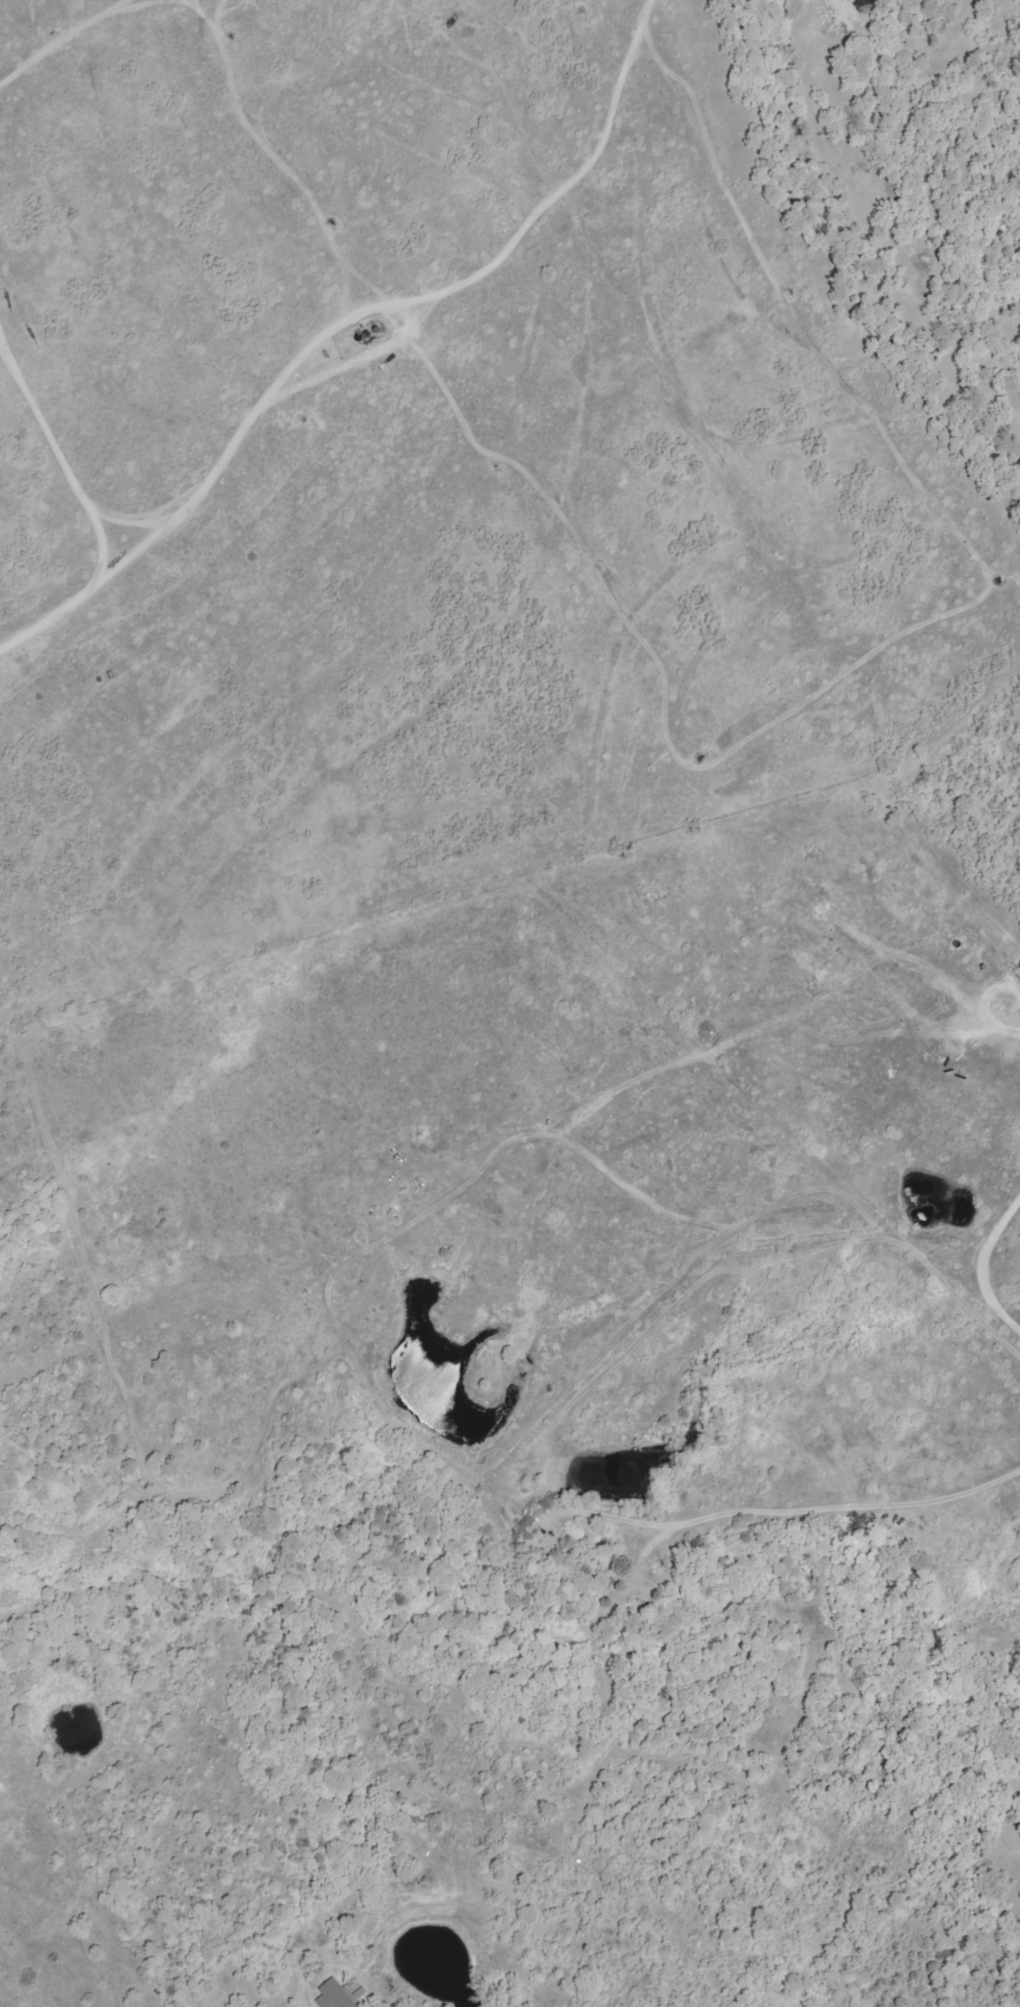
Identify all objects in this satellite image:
road: (341, 319)
road: (689, 1993)
building: (332, 1995)
road: (280, 1996)

